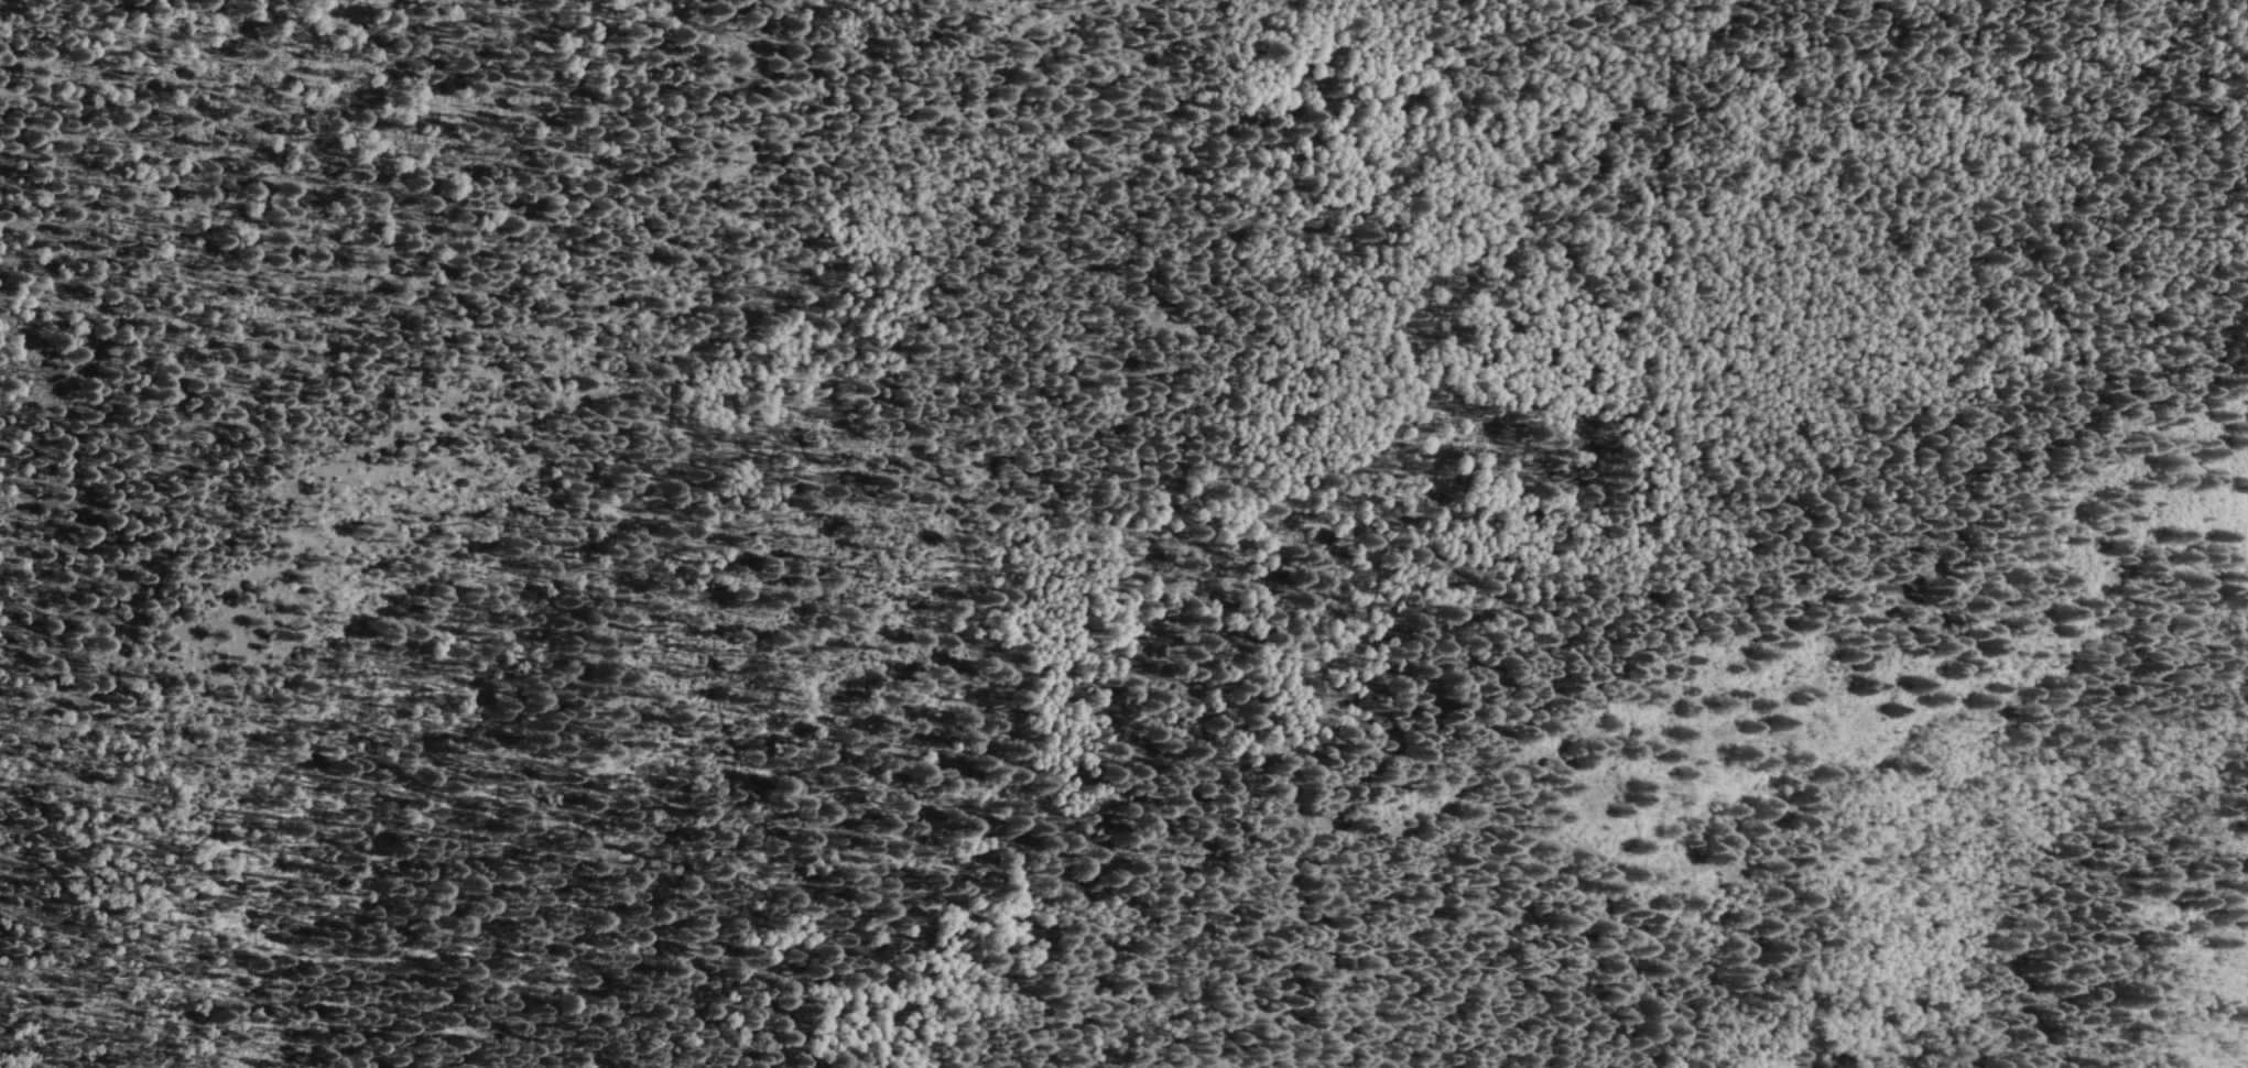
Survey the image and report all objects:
road: (556, 947)

